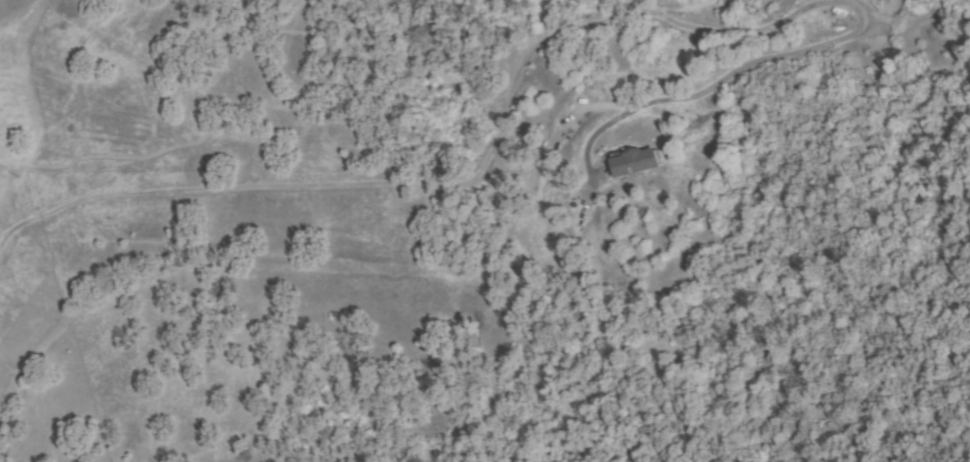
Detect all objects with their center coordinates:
road: (828, 17)
road: (40, 104)
building: (635, 162)
road: (431, 183)

